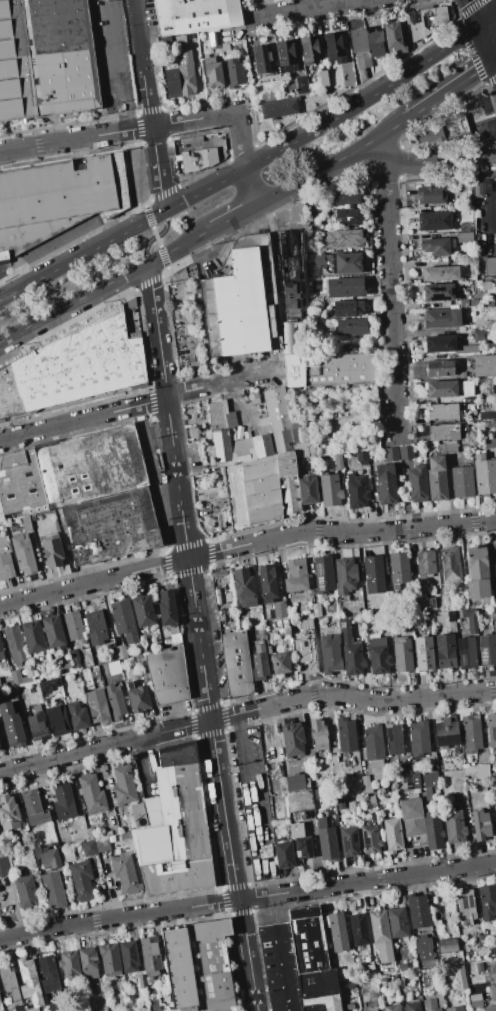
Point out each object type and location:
road: (494, 4)
road: (302, 7)
road: (470, 12)
building: (439, 15)
building: (196, 16)
road: (486, 18)
building: (426, 21)
building: (413, 24)
traffic signals: (476, 26)
building: (393, 39)
building: (213, 41)
building: (376, 44)
building: (236, 46)
building: (224, 47)
building: (334, 47)
building: (359, 48)
road: (486, 48)
building: (309, 50)
building: (286, 56)
building: (45, 59)
building: (262, 59)
road: (494, 59)
traffic signals: (492, 61)
road: (116, 65)
building: (213, 72)
building: (234, 72)
building: (186, 79)
building: (324, 80)
building: (172, 81)
building: (301, 84)
road: (449, 90)
road: (478, 95)
road: (148, 106)
building: (279, 108)
parking lot: (481, 118)
building: (455, 126)
road: (144, 127)
road: (197, 144)
road: (380, 151)
road: (440, 160)
building: (192, 161)
road: (330, 164)
road: (242, 170)
road: (249, 188)
building: (477, 189)
building: (432, 195)
building: (348, 196)
building: (57, 198)
building: (348, 215)
road: (232, 218)
building: (434, 220)
building: (464, 227)
road: (154, 236)
building: (464, 236)
road: (156, 237)
building: (342, 239)
building: (437, 246)
building: (314, 259)
building: (346, 263)
building: (489, 266)
building: (439, 273)
building: (291, 278)
building: (312, 280)
road: (105, 284)
building: (487, 286)
building: (346, 287)
building: (438, 292)
road: (390, 298)
building: (241, 300)
building: (463, 302)
building: (316, 303)
building: (488, 304)
building: (347, 308)
building: (442, 318)
building: (351, 327)
building: (484, 335)
building: (287, 338)
building: (447, 345)
building: (484, 365)
building: (73, 367)
building: (440, 368)
building: (328, 369)
building: (461, 375)
road: (218, 386)
building: (449, 388)
building: (253, 394)
building: (346, 401)
building: (443, 412)
building: (484, 415)
road: (83, 419)
building: (444, 432)
building: (490, 443)
building: (447, 448)
building: (406, 453)
building: (390, 454)
building: (361, 458)
building: (338, 461)
building: (258, 462)
building: (70, 472)
building: (484, 474)
building: (437, 478)
building: (462, 482)
building: (307, 483)
building: (417, 483)
building: (386, 486)
building: (330, 490)
building: (357, 490)
building: (219, 493)
building: (220, 521)
building: (111, 525)
road: (245, 544)
road: (493, 549)
building: (52, 552)
building: (23, 554)
building: (425, 563)
building: (6, 566)
building: (450, 566)
building: (398, 569)
building: (477, 572)
building: (323, 574)
building: (373, 574)
building: (295, 575)
building: (267, 583)
building: (347, 584)
building: (415, 584)
building: (244, 587)
building: (417, 600)
building: (430, 602)
building: (167, 608)
building: (279, 610)
building: (316, 610)
building: (143, 611)
building: (493, 613)
building: (124, 620)
building: (408, 623)
building: (343, 624)
building: (74, 625)
building: (285, 626)
building: (95, 627)
building: (173, 629)
building: (53, 631)
building: (33, 636)
road: (197, 637)
building: (288, 642)
building: (14, 644)
building: (307, 646)
building: (487, 650)
building: (328, 651)
building: (445, 651)
building: (1, 652)
building: (111, 652)
building: (122, 652)
building: (424, 653)
building: (466, 653)
building: (95, 655)
building: (352, 655)
building: (402, 655)
building: (378, 656)
building: (77, 658)
building: (279, 662)
building: (235, 663)
building: (258, 666)
building: (114, 667)
building: (67, 668)
building: (95, 674)
building: (168, 674)
building: (69, 675)
building: (19, 678)
building: (0, 686)
building: (49, 686)
building: (19, 696)
building: (138, 698)
building: (115, 701)
building: (97, 704)
road: (245, 711)
building: (78, 716)
building: (57, 718)
building: (38, 723)
building: (12, 726)
building: (491, 729)
building: (447, 731)
building: (472, 733)
building: (318, 734)
building: (345, 734)
building: (418, 738)
building: (292, 739)
building: (393, 739)
building: (373, 744)
building: (310, 755)
building: (333, 759)
road: (244, 764)
building: (477, 771)
building: (405, 773)
building: (424, 778)
building: (296, 782)
building: (123, 785)
building: (366, 785)
building: (92, 793)
building: (428, 794)
building: (63, 800)
building: (300, 802)
building: (495, 806)
building: (343, 807)
building: (34, 808)
building: (9, 812)
building: (138, 812)
building: (411, 819)
building: (108, 820)
building: (454, 826)
building: (481, 826)
building: (175, 828)
building: (296, 830)
building: (433, 830)
building: (125, 835)
building: (392, 835)
building: (369, 837)
building: (326, 839)
building: (350, 842)
building: (102, 844)
building: (303, 846)
building: (88, 847)
building: (68, 854)
building: (284, 855)
building: (47, 856)
building: (4, 866)
building: (125, 873)
building: (81, 880)
building: (55, 889)
building: (25, 891)
road: (247, 897)
building: (487, 901)
building: (465, 906)
building: (418, 911)
building: (397, 923)
building: (379, 927)
building: (358, 929)
building: (337, 932)
building: (448, 945)
building: (423, 949)
building: (494, 950)
building: (311, 953)
building: (129, 956)
building: (148, 956)
building: (495, 958)
building: (110, 960)
building: (452, 960)
building: (88, 962)
building: (69, 966)
building: (279, 967)
building: (402, 967)
building: (480, 967)
building: (197, 969)
building: (370, 971)
building: (50, 976)
building: (460, 977)
building: (142, 981)
building: (29, 982)
building: (391, 982)
building: (11, 986)
building: (493, 990)
building: (475, 1000)
building: (322, 1003)
building: (155, 1005)
building: (430, 1005)
building: (412, 1006)
building: (392, 1007)
building: (371, 1008)
building: (454, 1008)
building: (490, 1008)
building: (33, 1009)
building: (357, 1010)

